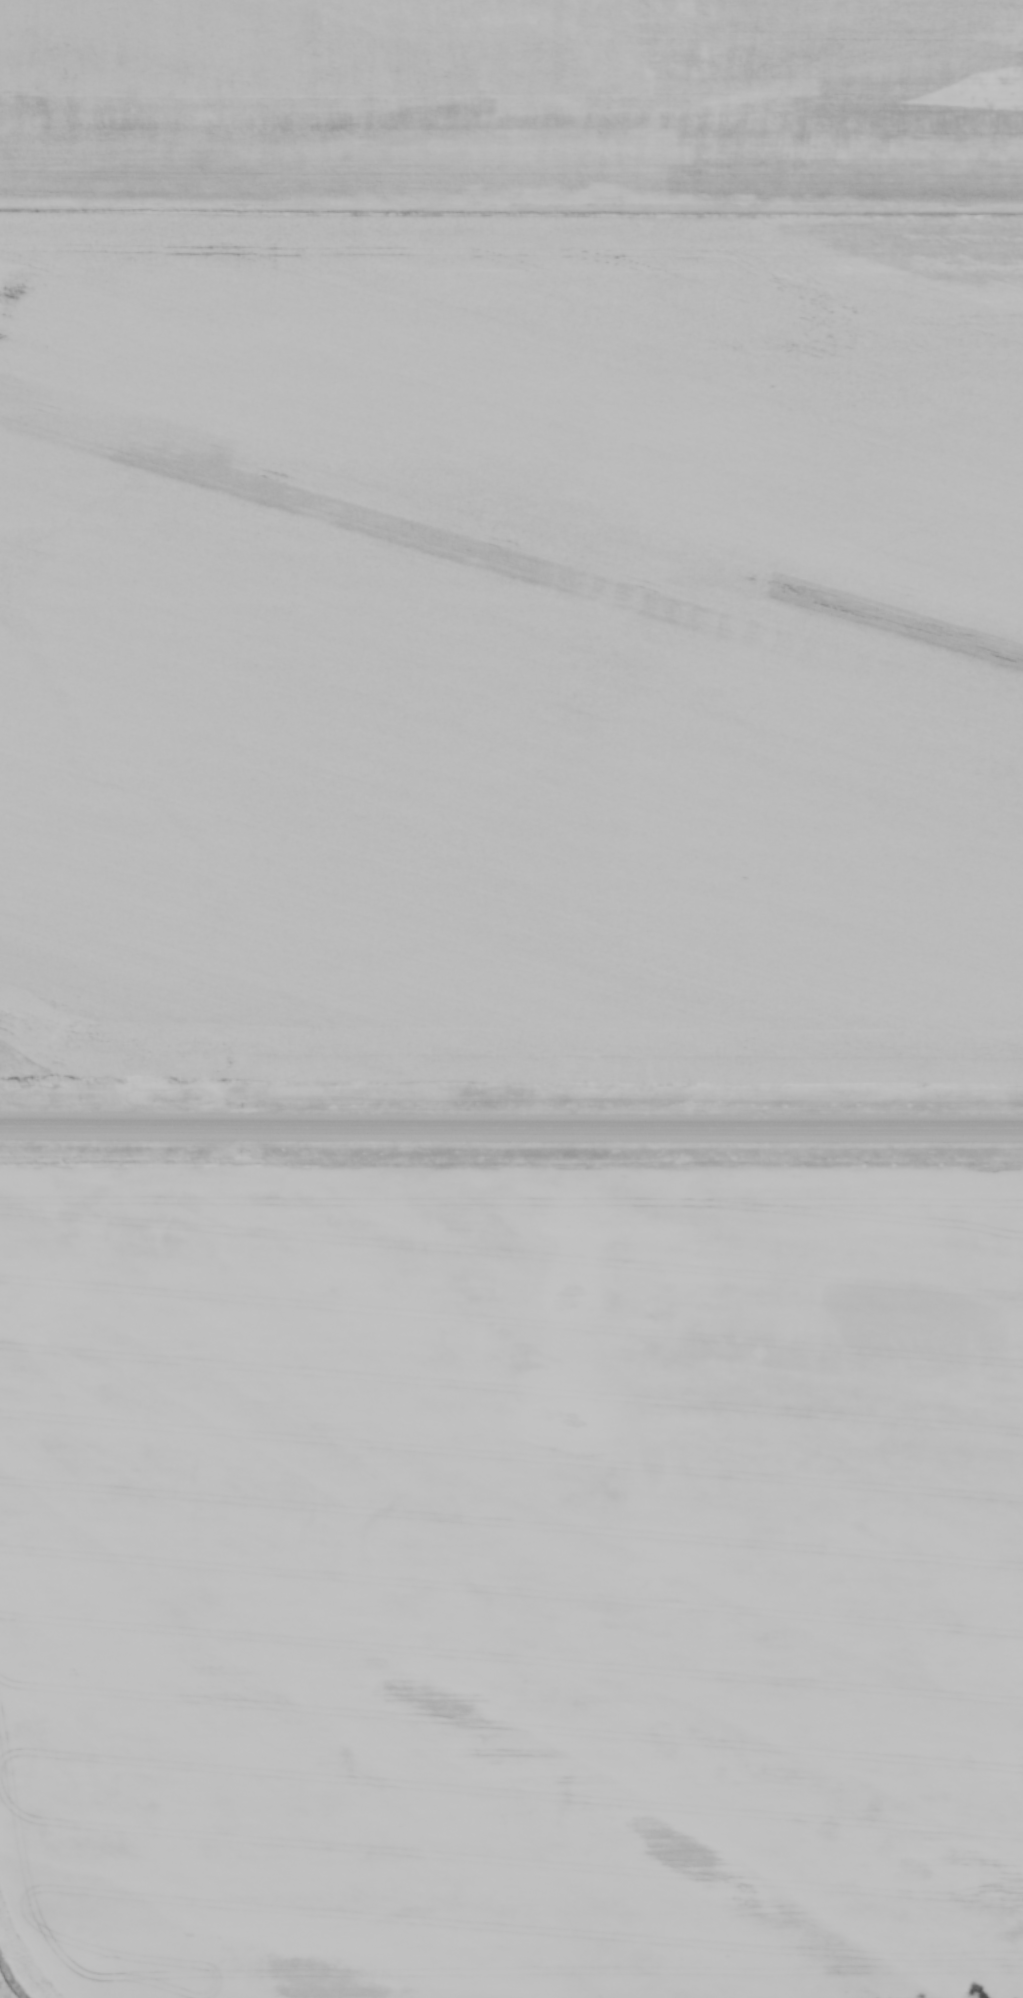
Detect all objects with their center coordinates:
road: (511, 1128)

